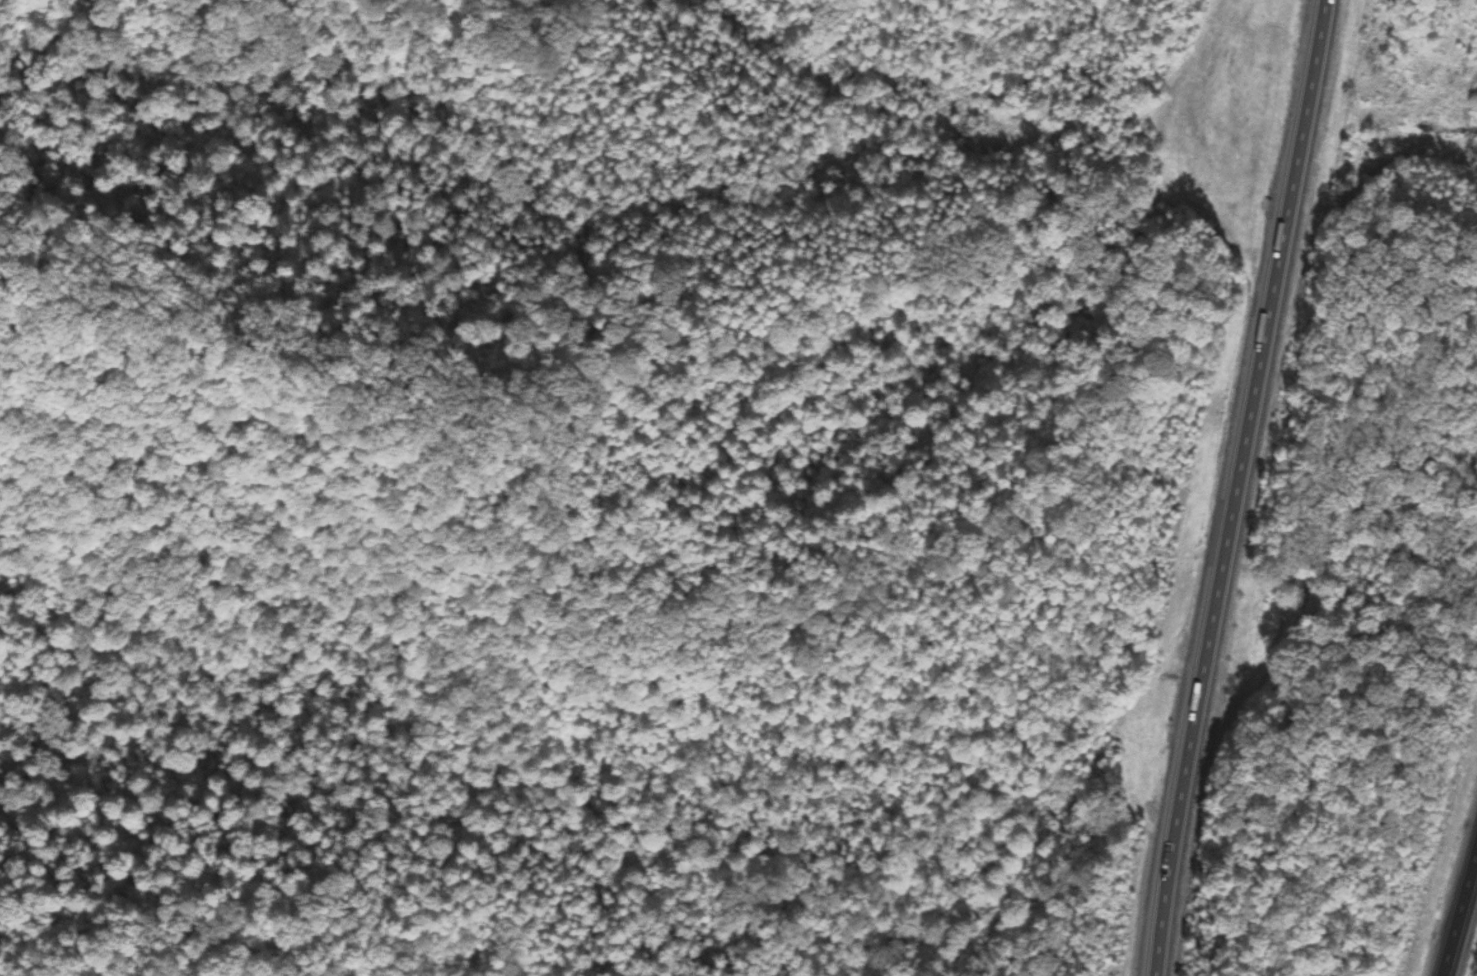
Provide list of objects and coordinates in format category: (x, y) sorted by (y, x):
road: (1235, 487)
road: (1460, 914)

